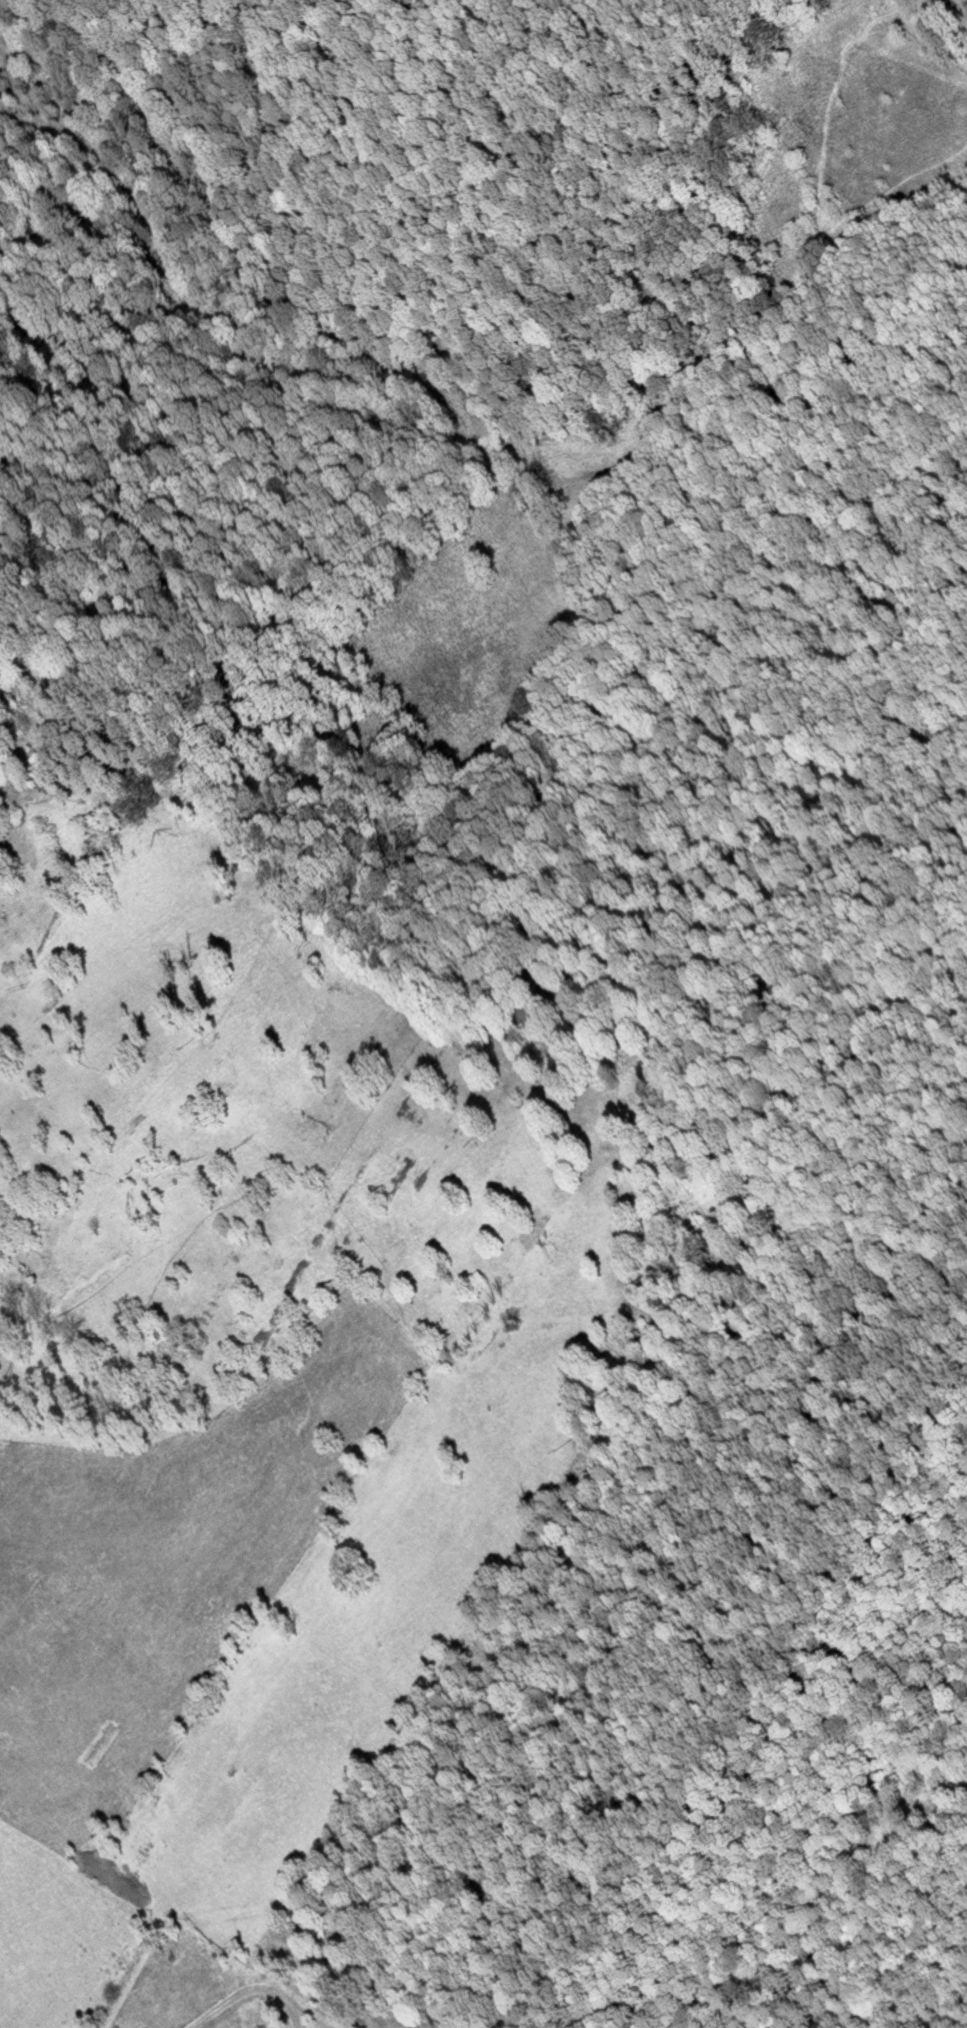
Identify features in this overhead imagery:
road: (249, 1987)

